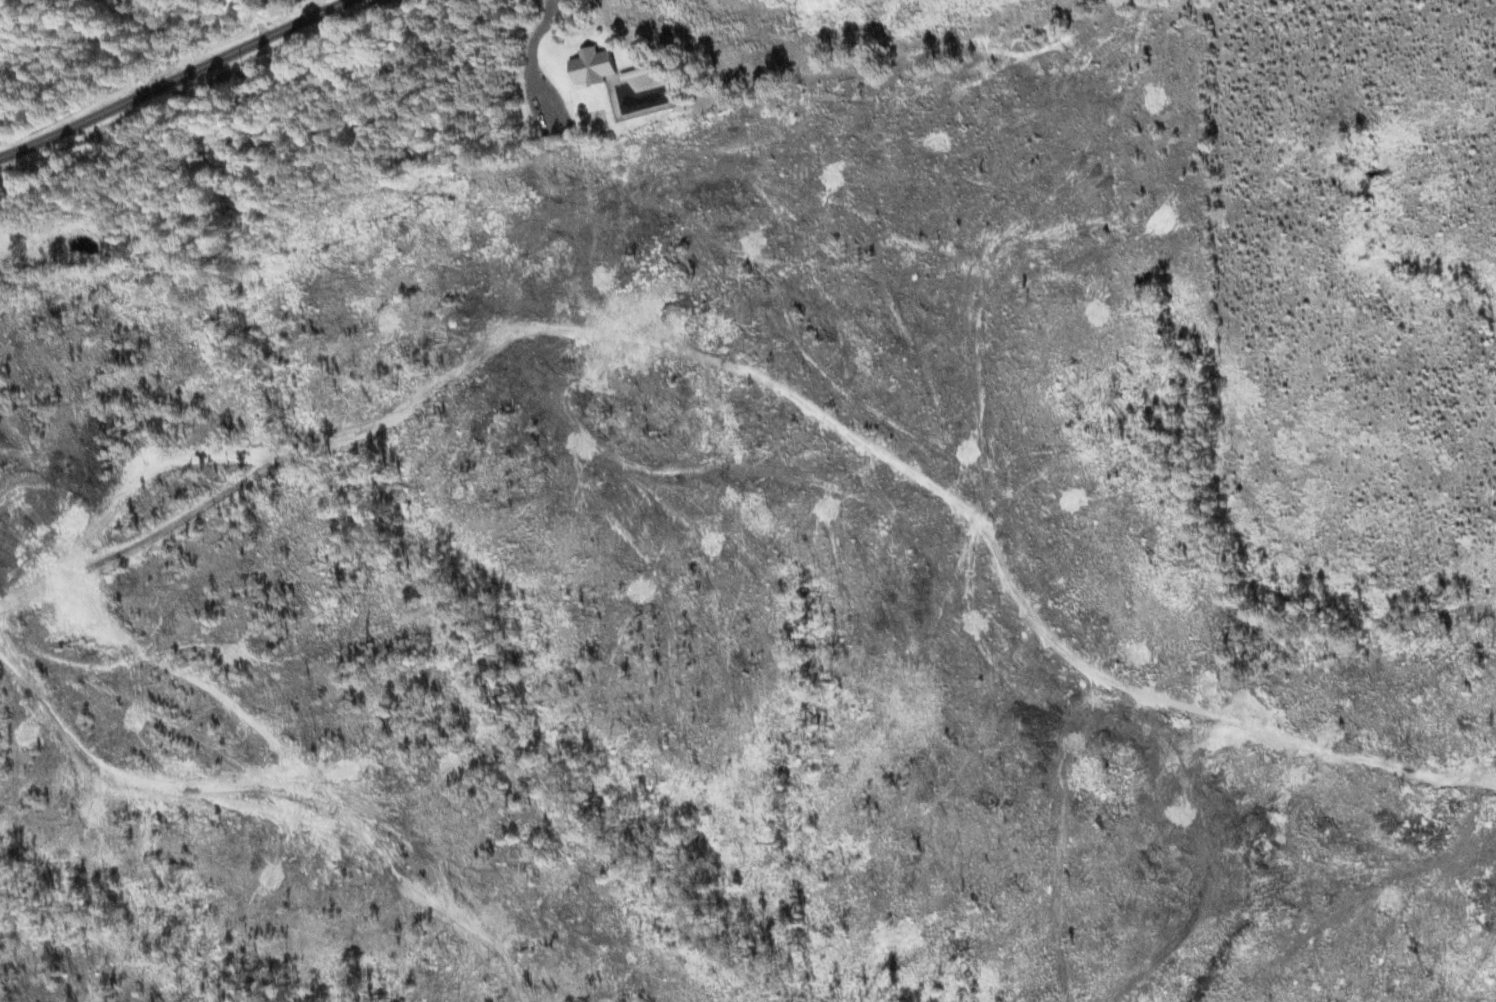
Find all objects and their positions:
park: (872, 38)
building: (592, 65)
road: (171, 80)

